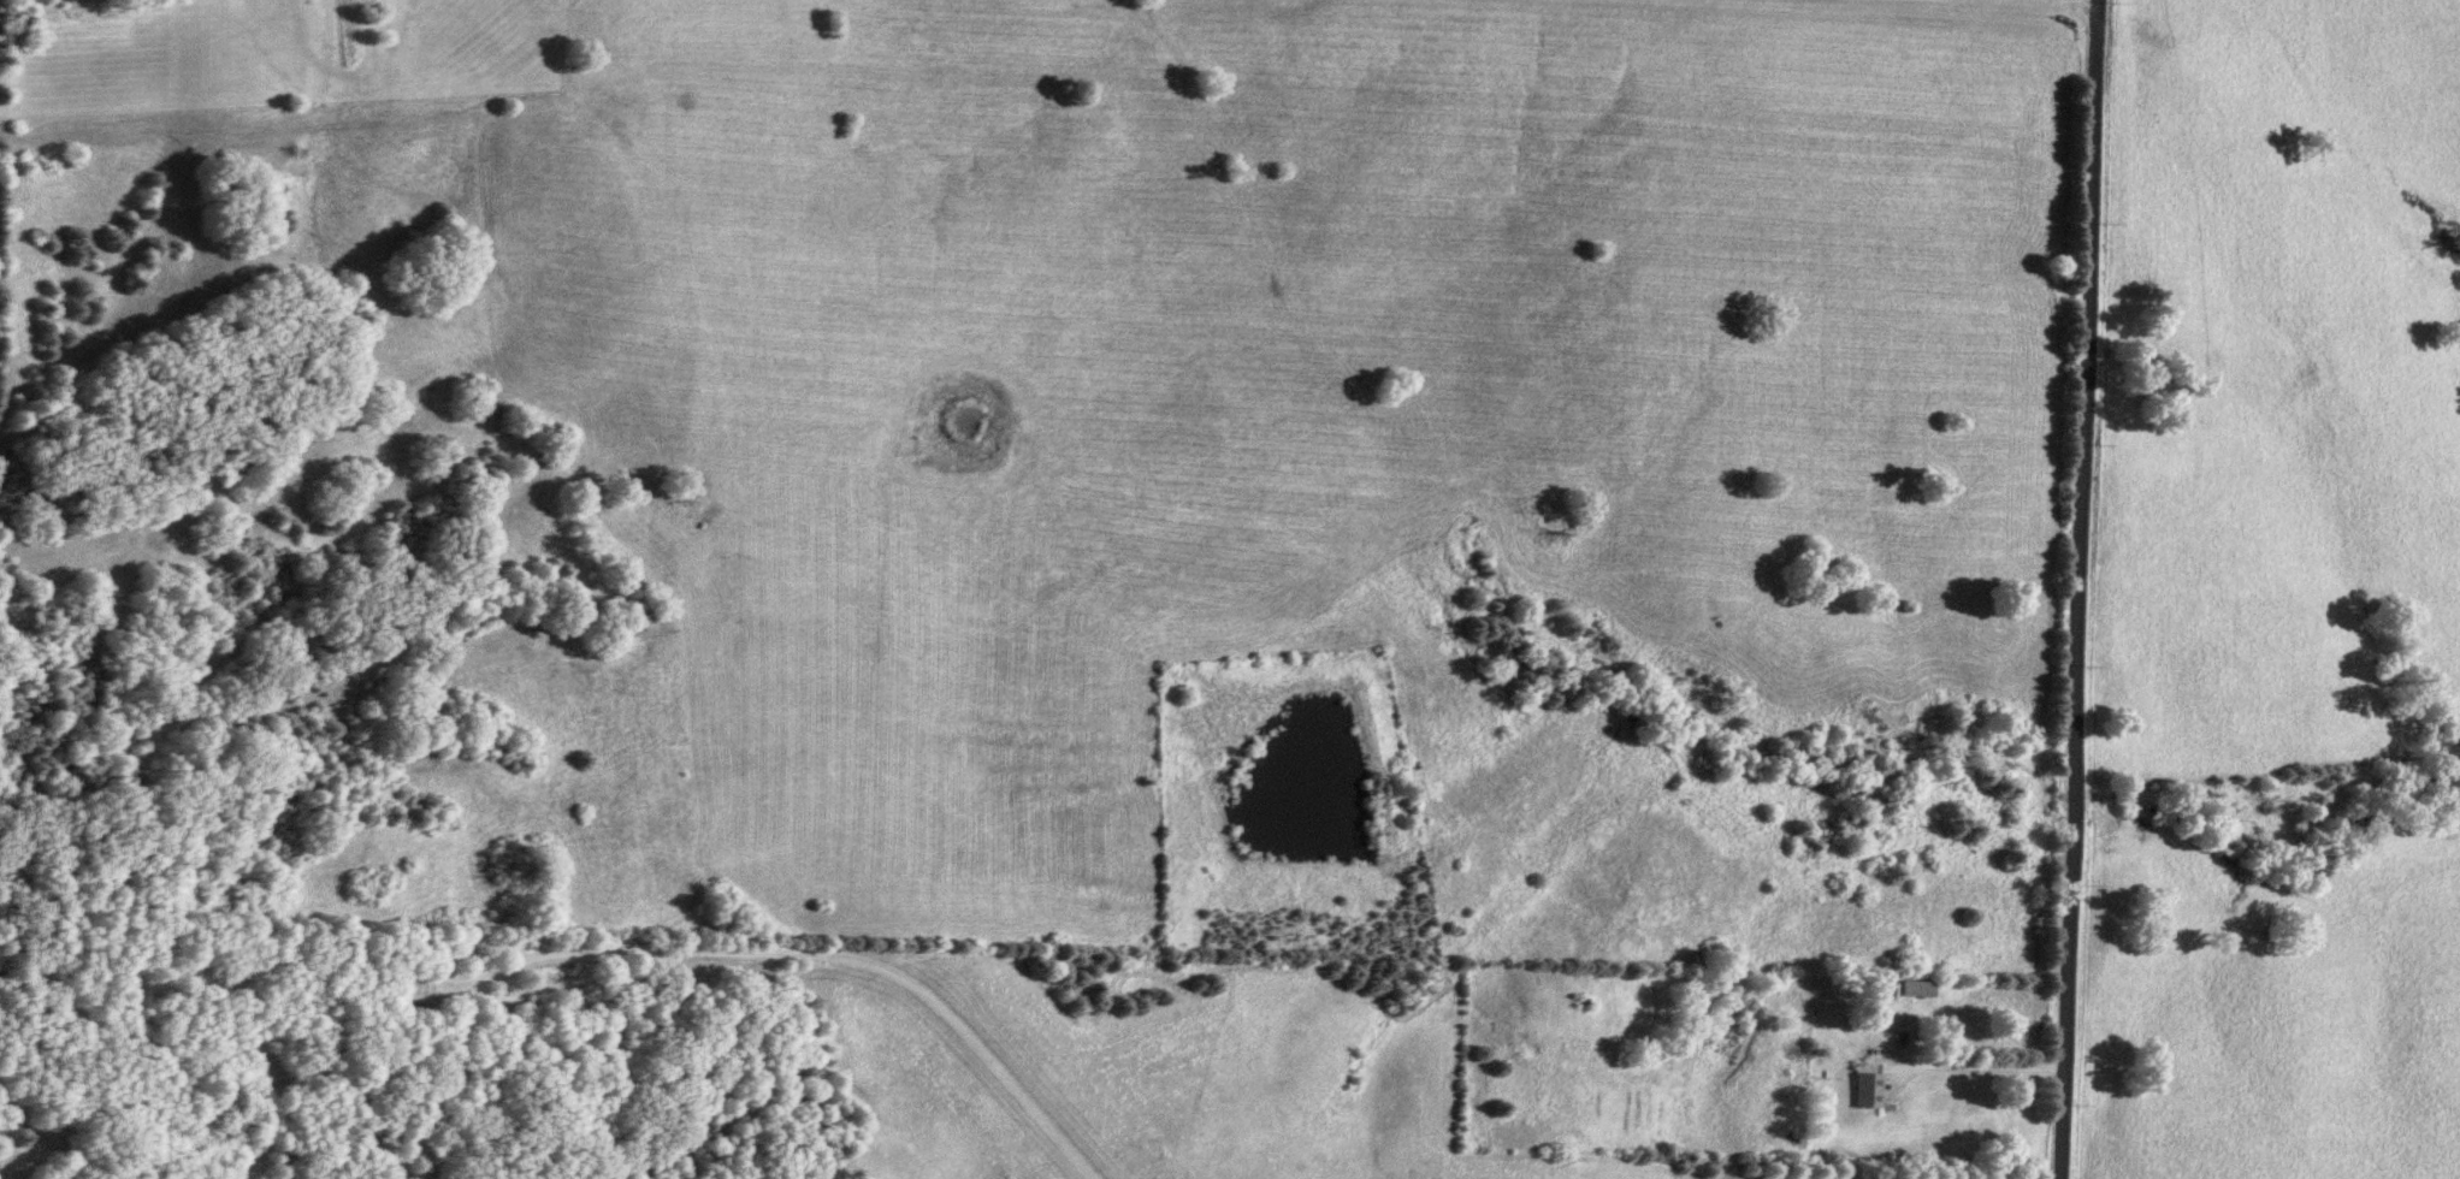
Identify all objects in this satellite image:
road: (2080, 589)
road: (717, 955)
building: (409, 990)
road: (1971, 1068)
building: (1861, 1089)

